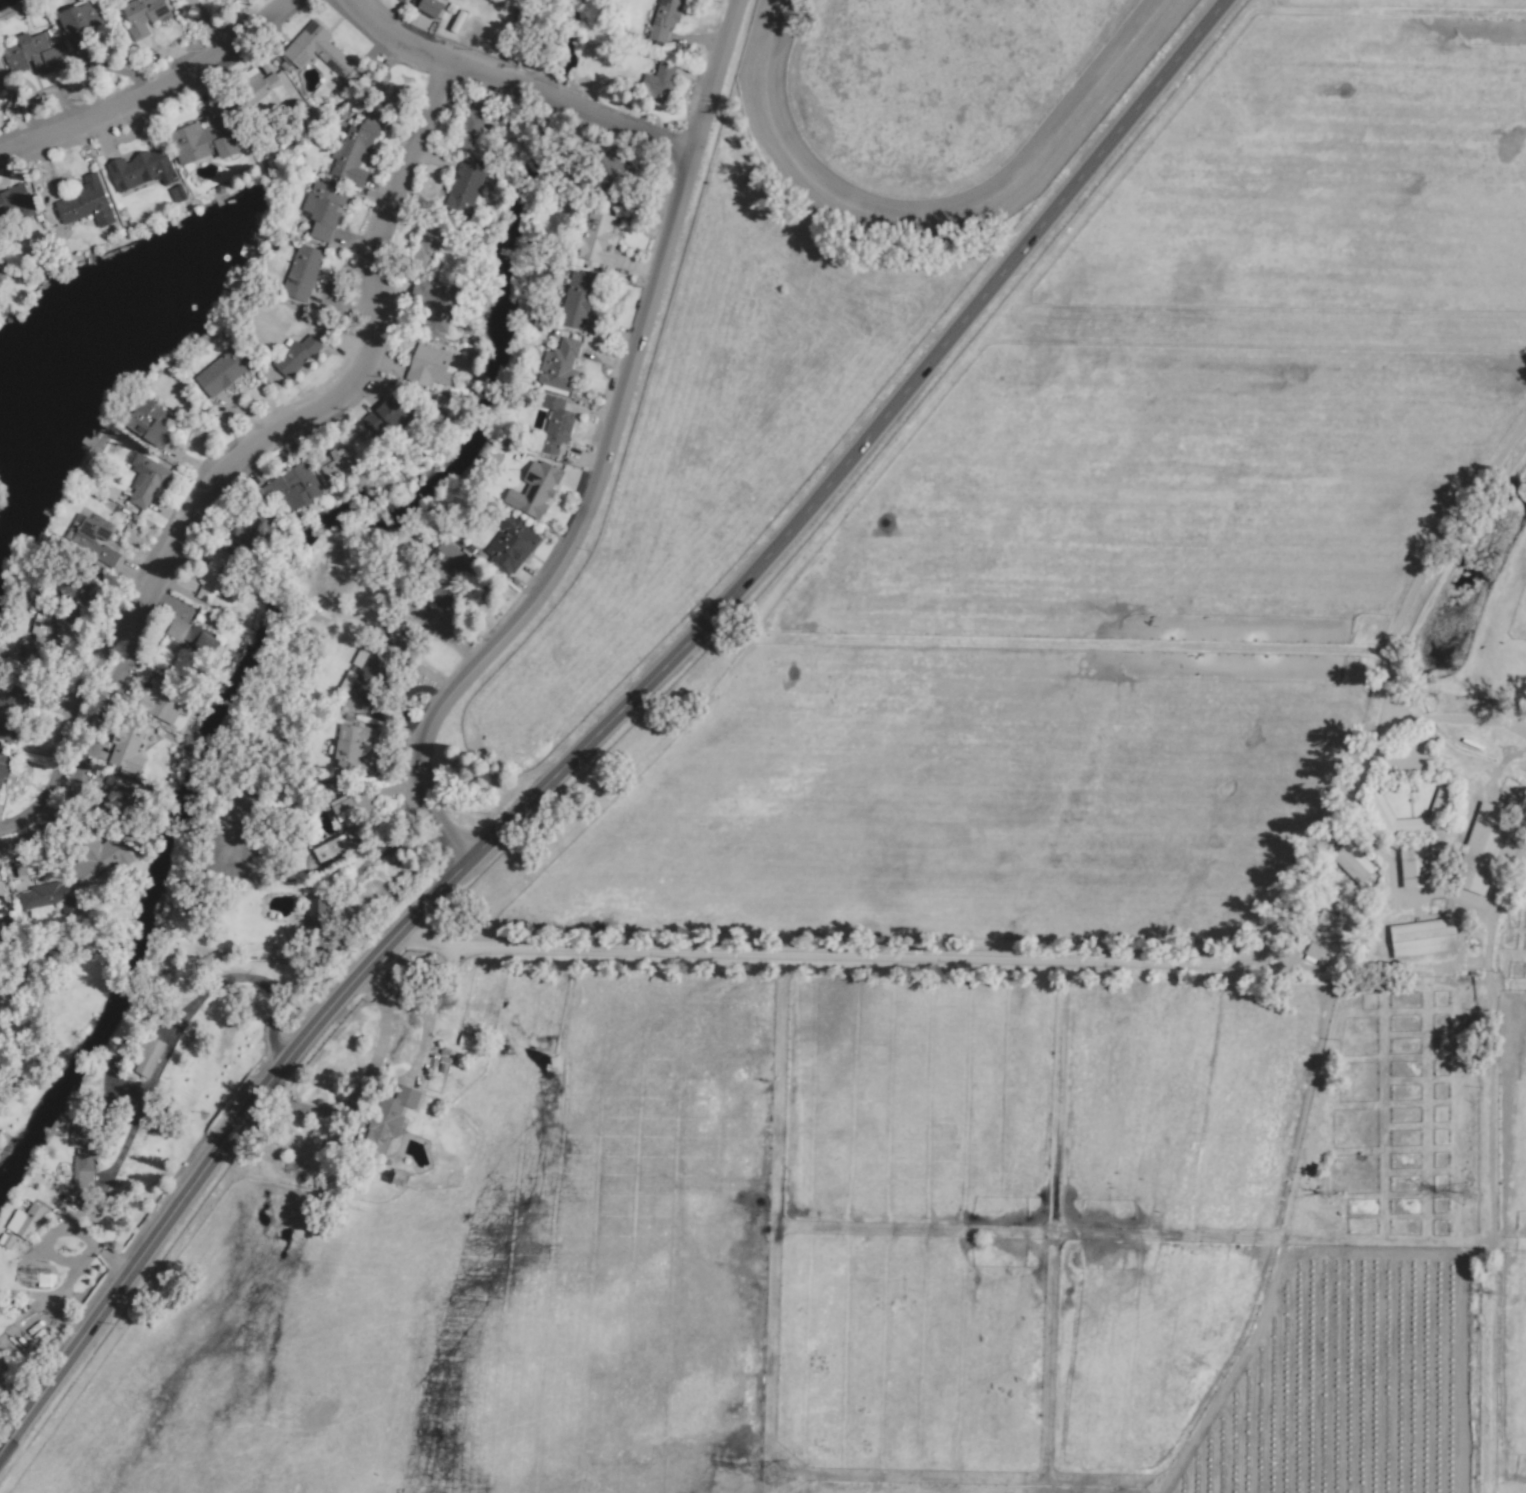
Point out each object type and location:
building: (398, 1)
building: (428, 8)
building: (139, 17)
building: (664, 19)
building: (77, 22)
building: (315, 50)
building: (30, 54)
building: (2, 75)
building: (660, 80)
building: (251, 91)
road: (516, 91)
road: (154, 93)
building: (471, 125)
building: (201, 142)
building: (354, 150)
building: (139, 169)
building: (608, 172)
building: (464, 187)
building: (12, 198)
building: (84, 203)
building: (322, 209)
building: (430, 241)
building: (598, 241)
building: (3, 268)
building: (300, 272)
crop: (809, 290)
building: (577, 300)
building: (437, 307)
building: (296, 355)
building: (428, 365)
building: (222, 371)
building: (381, 414)
building: (148, 422)
building: (555, 425)
road: (601, 455)
road: (257, 471)
building: (145, 480)
building: (292, 488)
building: (536, 488)
crop: (1147, 524)
building: (96, 538)
building: (510, 542)
building: (212, 576)
building: (67, 611)
building: (411, 621)
building: (40, 624)
building: (363, 676)
building: (161, 701)
building: (11, 708)
road: (602, 720)
building: (127, 747)
building: (350, 747)
building: (1, 771)
building: (1438, 807)
building: (347, 817)
building: (1482, 849)
building: (1352, 863)
building: (1414, 867)
building: (85, 877)
building: (53, 897)
building: (1, 905)
building: (310, 915)
building: (1321, 938)
building: (1422, 938)
crop: (1115, 945)
road: (1366, 949)
road: (840, 953)
road: (186, 1020)
building: (464, 1041)
building: (147, 1057)
road: (361, 1082)
building: (390, 1120)
building: (81, 1152)
power tower: (1461, 1195)
crop: (829, 1213)
building: (24, 1221)
building: (5, 1239)
road: (85, 1241)
building: (33, 1276)
crop: (374, 1361)
crop: (223, 1417)
power tower: (782, 1477)

